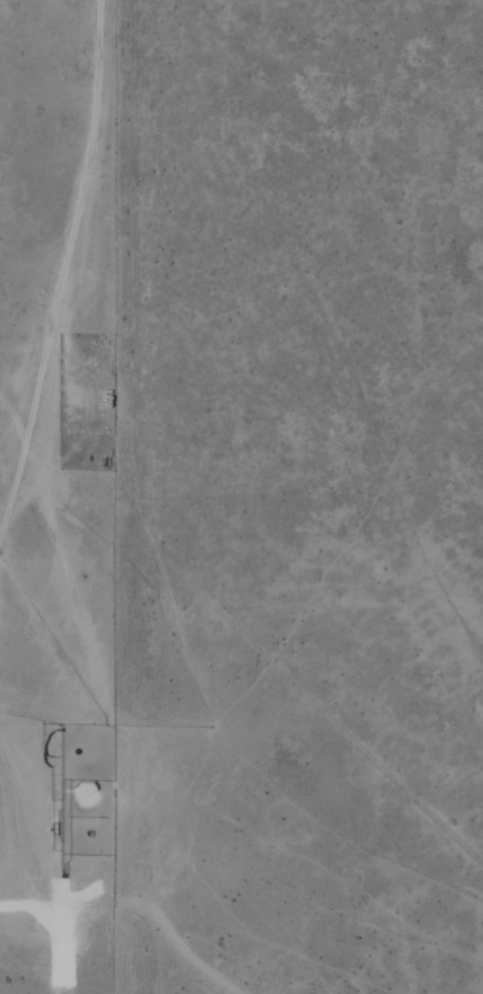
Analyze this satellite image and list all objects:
road: (72, 963)

